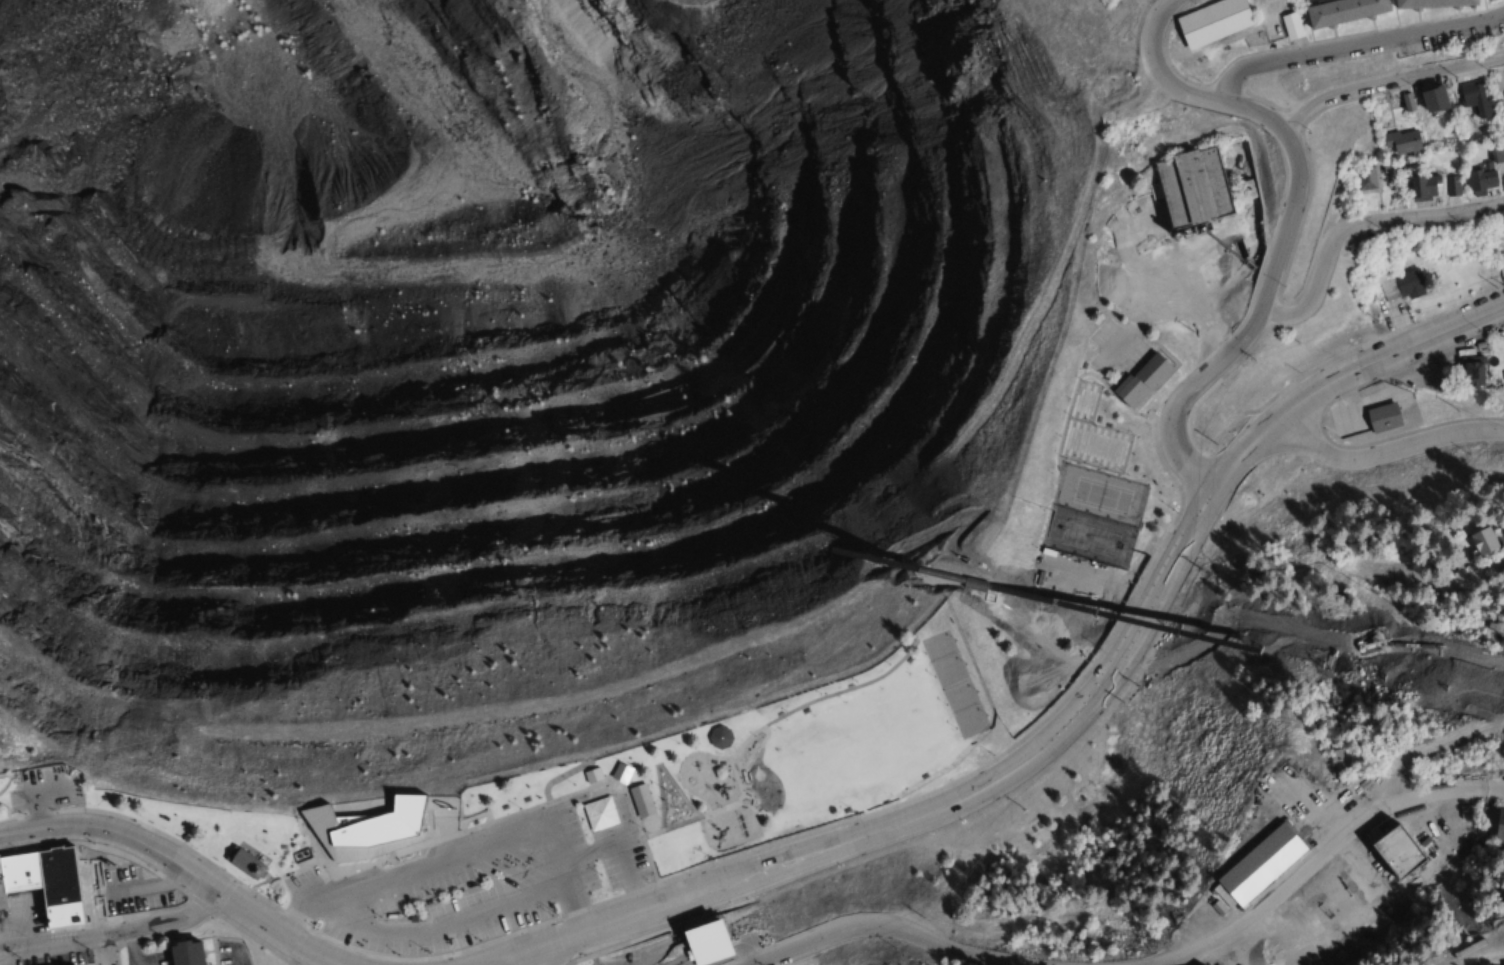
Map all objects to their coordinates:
building: (1485, 0)
building: (1342, 11)
building: (1211, 22)
building: (1289, 26)
road: (1351, 40)
road: (1388, 82)
building: (1432, 99)
building: (1473, 99)
building: (1401, 142)
building: (1496, 155)
building: (1368, 180)
building: (1479, 181)
building: (1502, 184)
building: (1451, 186)
building: (1423, 187)
building: (1190, 188)
road: (1360, 224)
road: (1291, 227)
building: (1407, 282)
quarry: (494, 336)
building: (1472, 371)
building: (1140, 381)
building: (1382, 417)
road: (1385, 445)
building: (1483, 544)
building: (1502, 617)
park: (931, 660)
road: (1076, 718)
building: (717, 740)
road: (1424, 750)
building: (1333, 756)
building: (617, 775)
building: (639, 801)
building: (349, 827)
building: (1494, 827)
building: (1394, 850)
building: (298, 853)
road: (1319, 857)
building: (237, 862)
building: (1254, 865)
road: (178, 869)
parking lot: (474, 881)
building: (44, 884)
road: (849, 924)
road: (113, 935)
road: (106, 951)
building: (184, 954)
road: (989, 955)
road: (308, 959)
road: (1485, 959)
building: (1199, 963)

